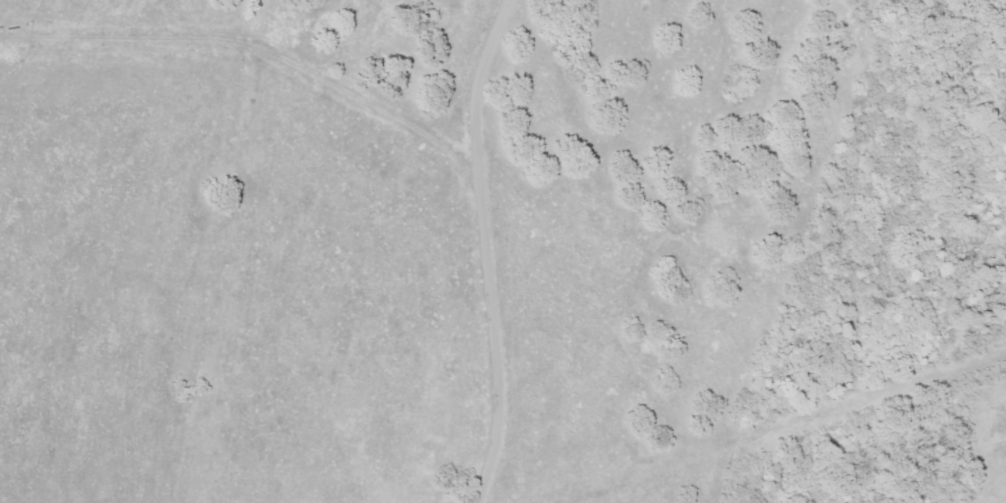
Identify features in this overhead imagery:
road: (482, 250)

